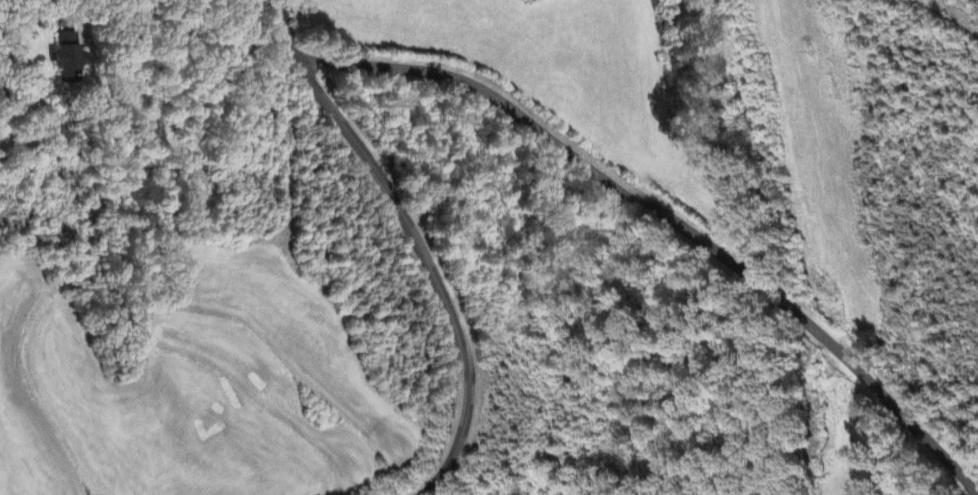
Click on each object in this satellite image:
road: (13, 51)
building: (68, 55)
road: (668, 221)
road: (411, 242)

